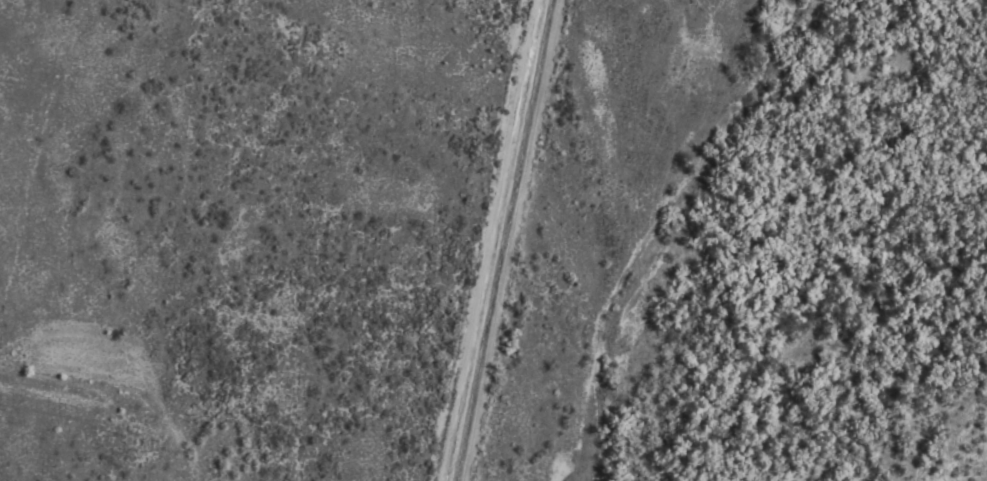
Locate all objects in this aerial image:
road: (486, 240)
road: (509, 240)

